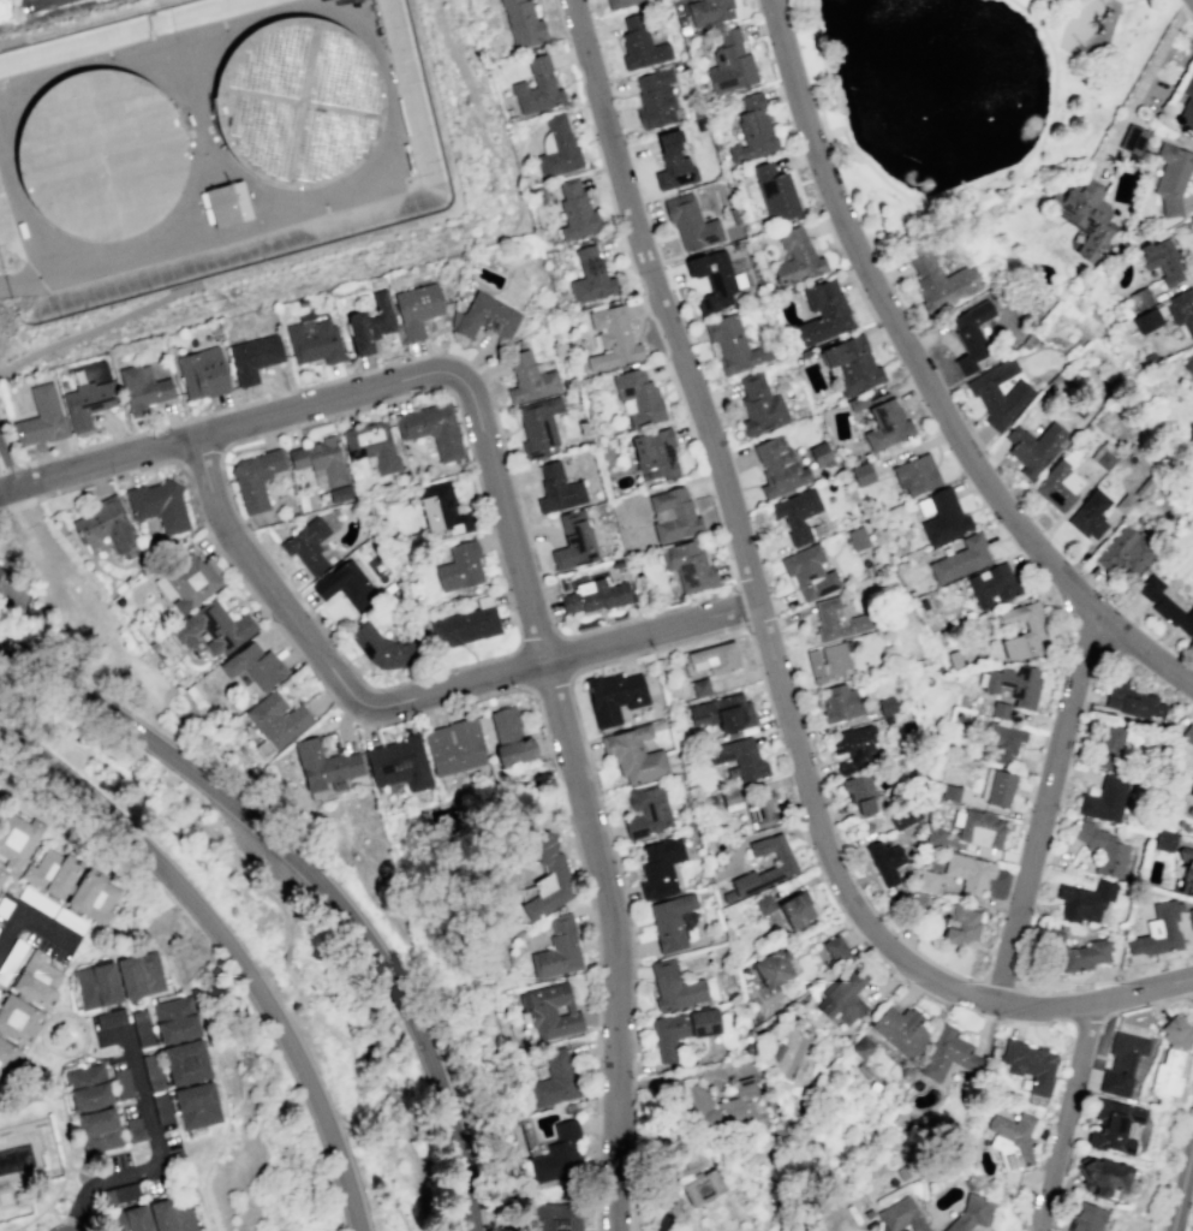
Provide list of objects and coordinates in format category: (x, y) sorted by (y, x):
road: (1125, 0)
building: (619, 4)
road: (1039, 8)
building: (4, 10)
building: (709, 11)
building: (521, 23)
road: (10, 41)
building: (640, 44)
road: (380, 61)
building: (729, 63)
road: (1144, 81)
building: (537, 87)
park: (965, 94)
building: (655, 99)
building: (299, 102)
storage tank: (299, 102)
building: (1186, 102)
road: (1050, 108)
building: (752, 131)
road: (840, 131)
building: (1132, 138)
building: (556, 148)
building: (100, 155)
storage tank: (100, 155)
building: (672, 162)
building: (1171, 176)
road: (962, 185)
building: (774, 192)
building: (228, 204)
building: (575, 210)
building: (1086, 216)
road: (25, 219)
building: (690, 221)
building: (797, 258)
building: (1161, 260)
building: (590, 276)
road: (43, 278)
building: (940, 278)
building: (712, 279)
building: (1139, 298)
building: (417, 308)
building: (1181, 310)
building: (822, 311)
building: (484, 317)
building: (1146, 320)
building: (370, 322)
road: (96, 326)
building: (968, 338)
building: (612, 339)
building: (314, 340)
building: (733, 345)
building: (253, 357)
building: (851, 363)
building: (1188, 367)
building: (145, 373)
building: (202, 373)
building: (529, 377)
road: (925, 381)
building: (141, 388)
building: (998, 394)
building: (639, 397)
building: (87, 402)
building: (858, 403)
building: (759, 404)
building: (41, 417)
building: (885, 423)
building: (538, 426)
road: (237, 427)
building: (433, 428)
building: (370, 445)
building: (1032, 447)
building: (654, 453)
building: (819, 454)
building: (1102, 454)
building: (320, 459)
road: (202, 462)
road: (7, 466)
road: (8, 466)
building: (777, 468)
building: (861, 472)
building: (915, 475)
building: (255, 477)
road: (29, 481)
road: (5, 483)
building: (1057, 486)
building: (556, 488)
road: (5, 490)
building: (339, 492)
road: (19, 502)
building: (159, 505)
road: (1, 509)
building: (441, 510)
building: (794, 513)
building: (1090, 515)
building: (672, 516)
building: (943, 517)
building: (106, 524)
building: (855, 537)
building: (573, 541)
building: (306, 545)
building: (1123, 552)
building: (960, 558)
building: (5, 564)
building: (688, 564)
building: (459, 566)
road: (50, 571)
building: (809, 572)
building: (189, 581)
building: (345, 584)
building: (991, 584)
building: (1150, 587)
building: (12, 588)
building: (595, 595)
road: (740, 608)
building: (1175, 615)
building: (837, 620)
building: (464, 626)
building: (214, 628)
building: (1036, 628)
road: (515, 629)
road: (559, 632)
road: (765, 634)
road: (537, 643)
road: (668, 644)
building: (382, 647)
road: (567, 654)
building: (714, 658)
building: (954, 659)
building: (828, 661)
building: (253, 665)
road: (518, 668)
road: (16, 678)
road: (549, 680)
building: (1012, 684)
building: (699, 686)
road: (484, 696)
building: (614, 696)
road: (23, 697)
building: (1131, 700)
road: (407, 702)
building: (840, 702)
building: (887, 706)
building: (1000, 709)
building: (723, 714)
building: (276, 719)
building: (1187, 735)
building: (509, 737)
building: (1004, 741)
road: (72, 743)
building: (453, 747)
building: (1108, 747)
building: (853, 748)
building: (634, 755)
building: (736, 757)
building: (399, 763)
building: (324, 769)
road: (141, 780)
building: (1191, 789)
building: (1000, 790)
building: (949, 792)
building: (863, 793)
building: (729, 798)
building: (1104, 798)
road: (583, 801)
building: (759, 808)
building: (646, 810)
road: (1042, 811)
building: (905, 816)
building: (1192, 819)
building: (977, 827)
building: (935, 835)
building: (17, 839)
building: (1164, 840)
building: (1103, 849)
road: (226, 858)
building: (885, 861)
building: (783, 866)
building: (657, 867)
building: (1186, 870)
building: (968, 872)
building: (52, 873)
building: (2, 875)
road: (322, 875)
building: (545, 875)
road: (11, 878)
building: (926, 881)
road: (5, 884)
building: (94, 897)
building: (37, 900)
building: (1084, 900)
building: (917, 903)
building: (763, 904)
building: (4, 906)
building: (795, 909)
building: (1191, 917)
road: (29, 918)
building: (68, 920)
building: (670, 921)
building: (959, 924)
building: (1183, 924)
building: (1158, 932)
road: (232, 941)
building: (835, 948)
building: (556, 950)
road: (287, 955)
building: (1084, 955)
building: (11, 958)
building: (771, 968)
building: (139, 975)
building: (36, 979)
building: (96, 985)
building: (674, 986)
building: (843, 997)
road: (1146, 1004)
building: (172, 1007)
building: (551, 1010)
building: (137, 1015)
building: (16, 1018)
building: (112, 1018)
road: (1086, 1021)
building: (900, 1029)
building: (178, 1030)
building: (680, 1030)
building: (143, 1033)
road: (339, 1035)
building: (861, 1047)
building: (947, 1054)
building: (1170, 1054)
building: (6, 1055)
road: (108, 1055)
building: (1121, 1063)
building: (185, 1064)
building: (1028, 1064)
building: (153, 1071)
building: (554, 1080)
building: (123, 1083)
building: (88, 1087)
road: (389, 1089)
road: (61, 1100)
building: (196, 1105)
building: (724, 1107)
building: (163, 1110)
road: (1066, 1117)
building: (1113, 1125)
building: (135, 1130)
building: (99, 1131)
building: (1012, 1140)
road: (156, 1147)
building: (559, 1154)
road: (416, 1161)
road: (94, 1162)
road: (1176, 1164)
road: (160, 1165)
building: (1098, 1176)
road: (1182, 1183)
building: (703, 1188)
building: (124, 1194)
road: (197, 1196)
road: (53, 1213)
building: (970, 1213)
building: (172, 1215)
building: (900, 1215)
building: (556, 1217)
building: (1086, 1218)
road: (70, 1220)
building: (130, 1220)
road: (87, 1225)
road: (62, 1230)

